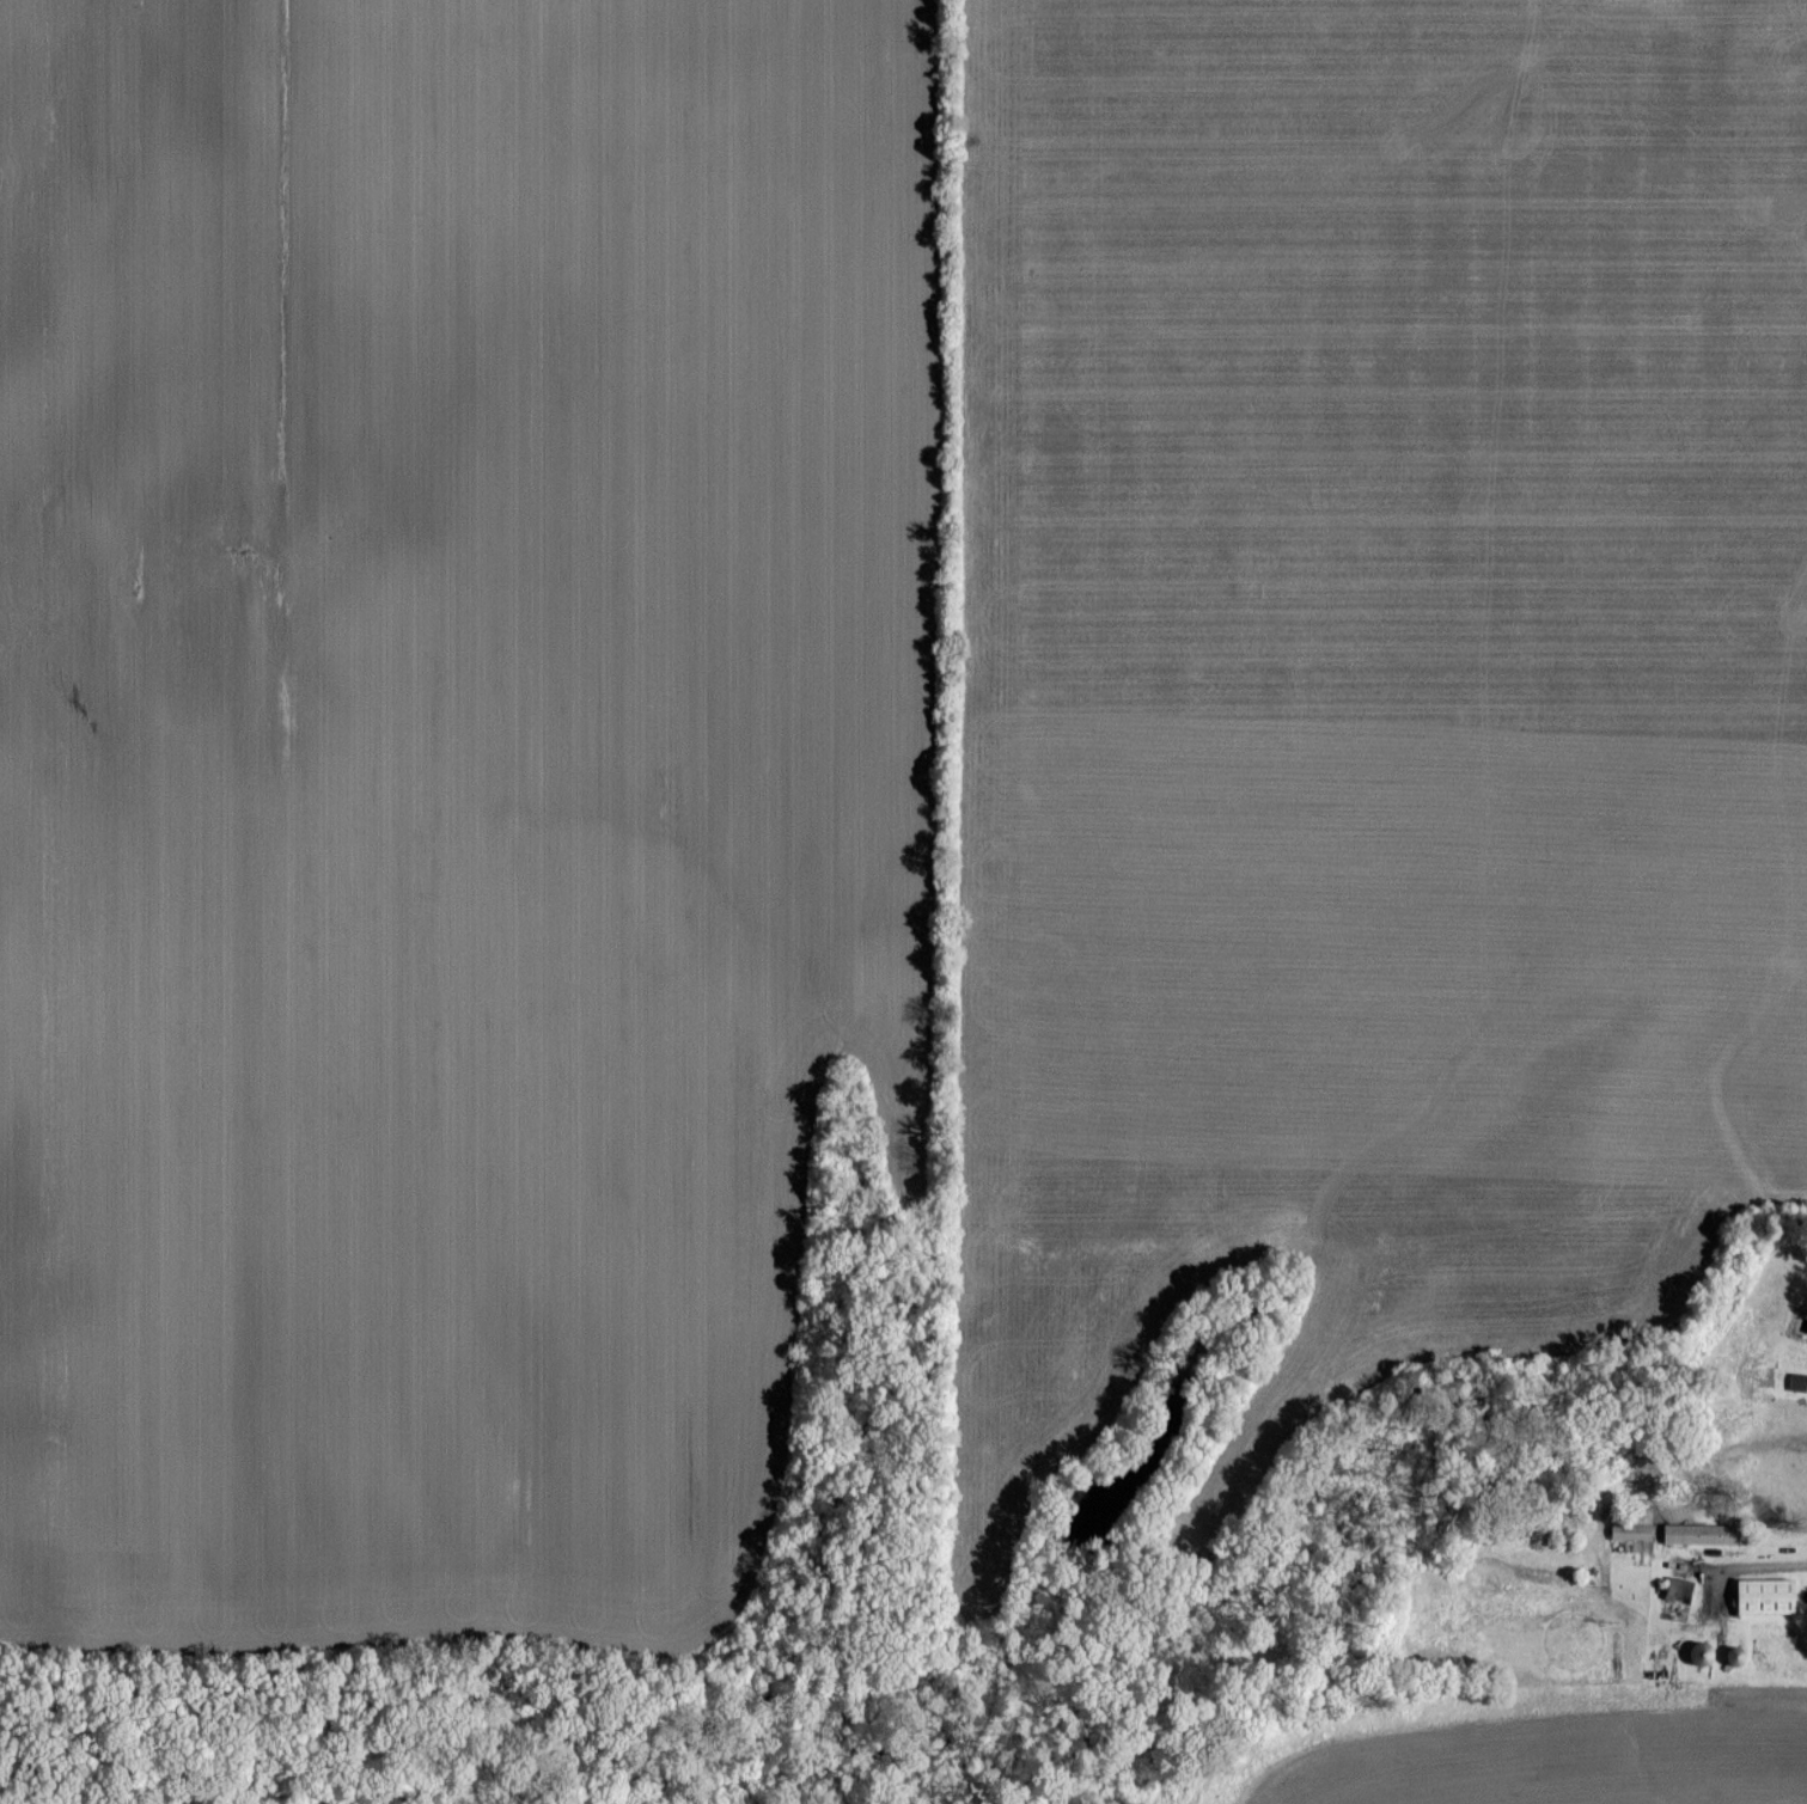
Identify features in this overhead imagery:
building: (1634, 1525)
building: (1702, 1531)
road: (1752, 1563)
building: (1681, 1588)
building: (1770, 1595)

